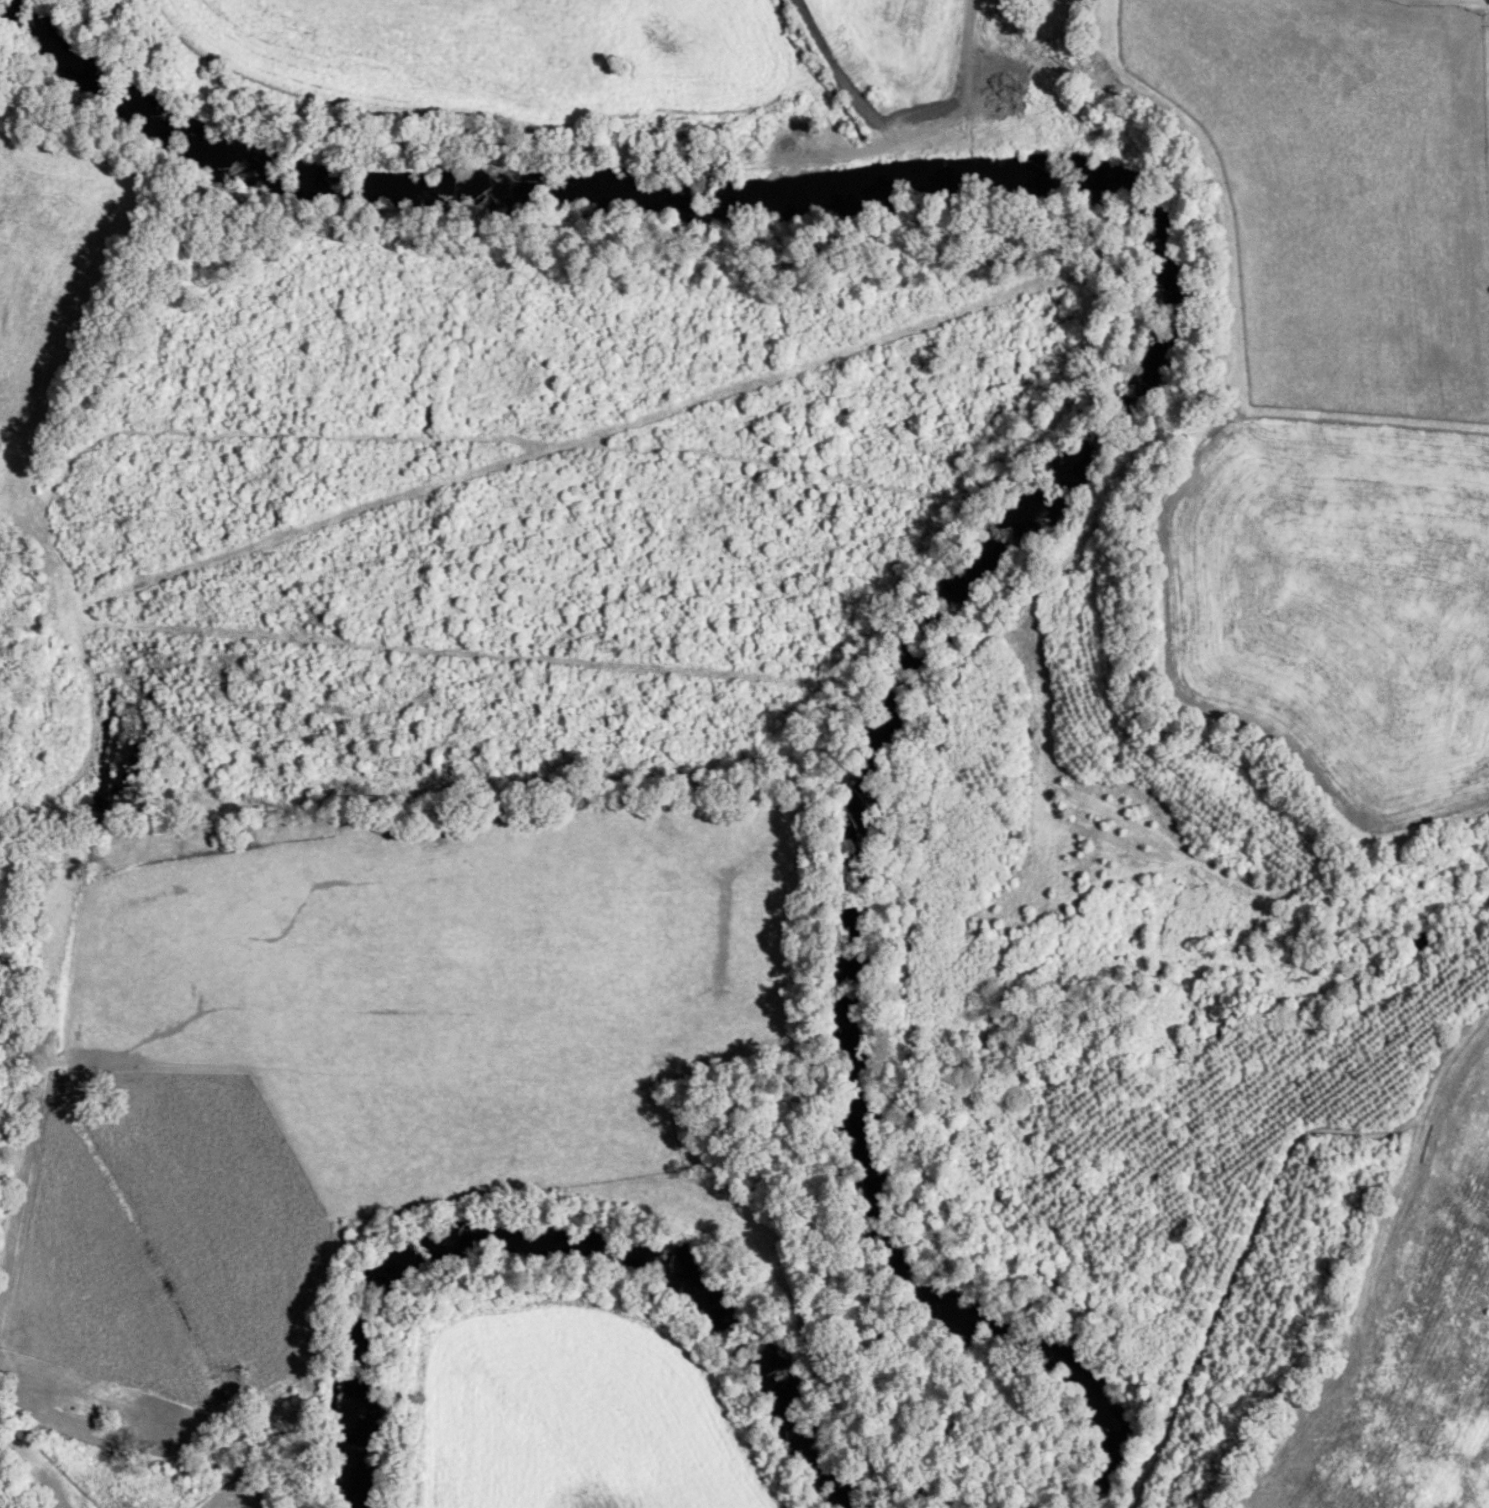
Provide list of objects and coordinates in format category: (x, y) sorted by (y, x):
river: (997, 195)
river: (561, 1254)
river: (918, 1304)

